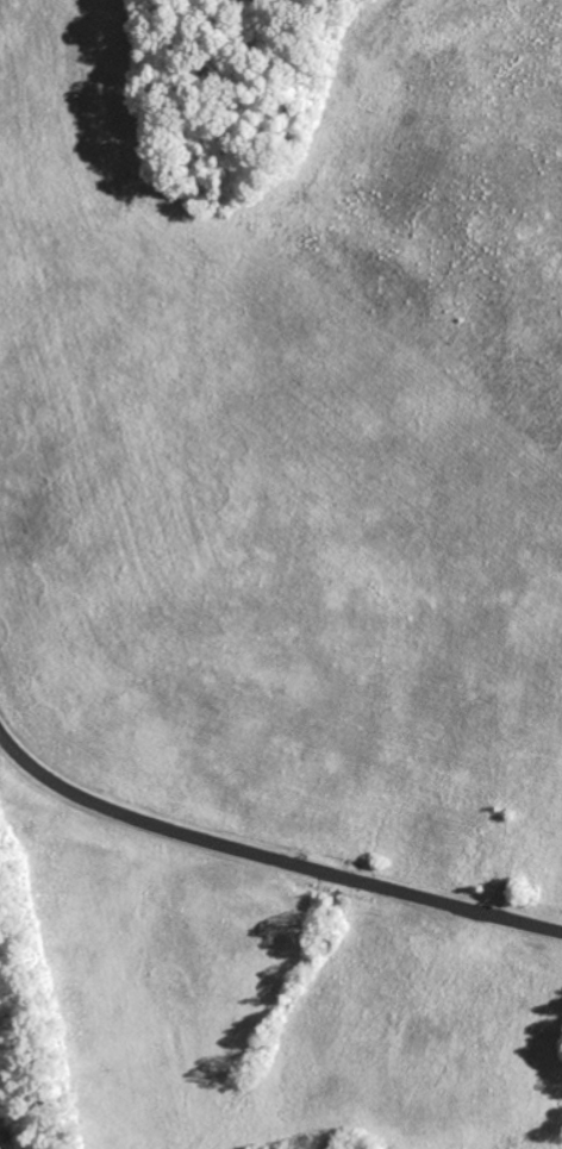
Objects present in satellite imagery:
road: (269, 857)

